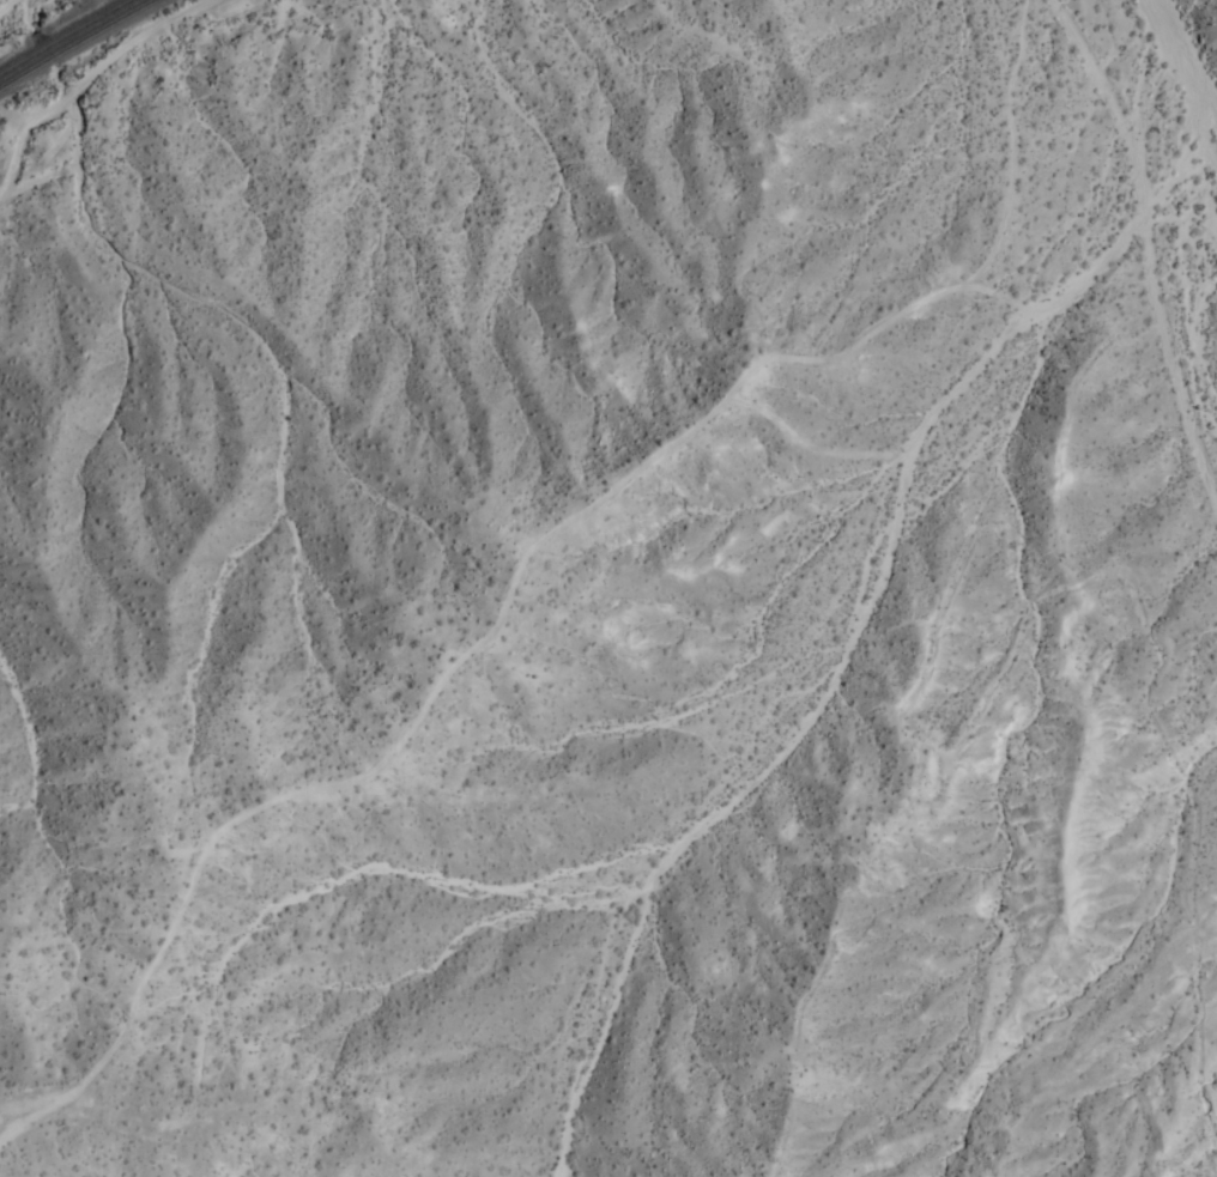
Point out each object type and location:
road: (0, 0)
railway: (63, 35)
railway: (74, 42)

